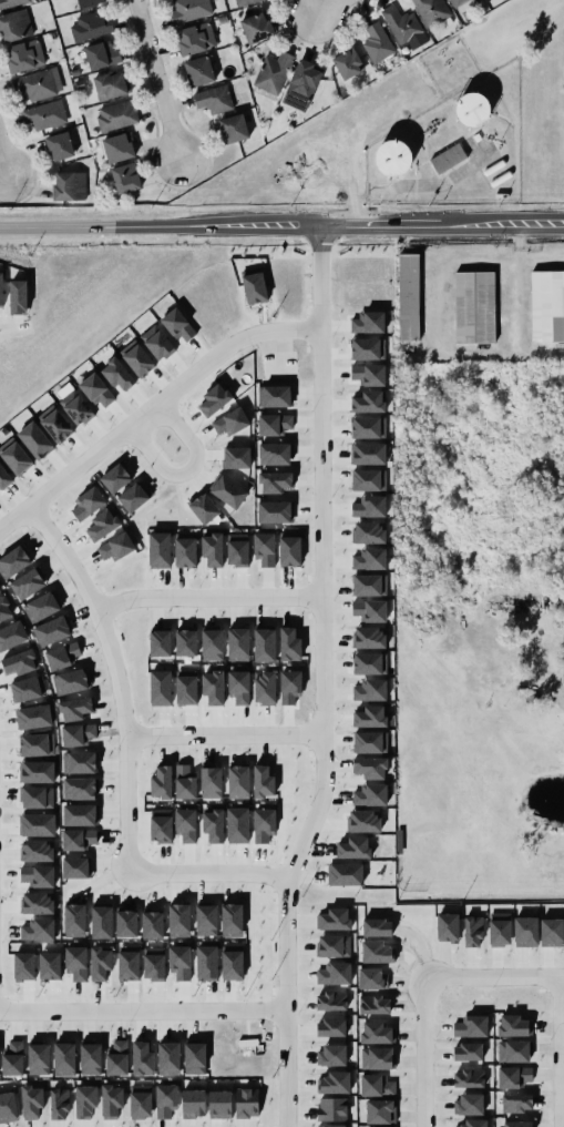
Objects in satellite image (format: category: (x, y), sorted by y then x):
building: (11, 2)
building: (88, 2)
building: (245, 2)
building: (459, 3)
building: (188, 10)
road: (311, 10)
road: (330, 10)
building: (431, 11)
building: (401, 24)
building: (14, 26)
building: (89, 27)
building: (257, 28)
building: (194, 39)
building: (377, 42)
building: (102, 54)
building: (24, 55)
building: (346, 64)
building: (197, 71)
building: (271, 72)
road: (156, 80)
building: (302, 81)
building: (39, 84)
building: (110, 85)
building: (213, 100)
building: (43, 114)
building: (116, 115)
building: (233, 129)
building: (60, 146)
building: (117, 148)
road: (4, 163)
building: (124, 180)
building: (68, 187)
road: (281, 224)
building: (372, 271)
building: (286, 284)
building: (254, 285)
building: (1, 290)
building: (228, 295)
building: (371, 296)
building: (408, 303)
building: (547, 306)
building: (474, 307)
building: (203, 309)
building: (368, 322)
building: (178, 325)
building: (156, 343)
building: (368, 348)
building: (137, 359)
building: (276, 369)
building: (117, 374)
building: (368, 374)
building: (96, 390)
building: (276, 395)
building: (214, 399)
building: (369, 402)
road: (153, 408)
building: (76, 409)
building: (229, 422)
building: (275, 424)
building: (55, 425)
building: (368, 427)
building: (34, 440)
building: (274, 453)
building: (369, 454)
building: (236, 457)
building: (16, 460)
road: (189, 473)
building: (115, 477)
building: (4, 478)
building: (369, 479)
building: (275, 481)
building: (227, 490)
building: (137, 498)
building: (86, 505)
building: (369, 507)
building: (204, 508)
building: (274, 511)
building: (102, 525)
building: (369, 532)
building: (115, 548)
building: (264, 548)
building: (289, 548)
building: (158, 549)
building: (184, 549)
building: (211, 549)
building: (237, 549)
building: (369, 559)
building: (13, 561)
building: (27, 583)
building: (369, 585)
road: (209, 599)
building: (41, 607)
building: (4, 609)
building: (369, 610)
building: (52, 629)
building: (12, 634)
building: (369, 637)
building: (160, 642)
building: (185, 642)
building: (237, 643)
building: (288, 643)
building: (212, 644)
building: (264, 644)
building: (63, 654)
building: (19, 662)
building: (369, 663)
road: (510, 674)
road: (117, 678)
road: (324, 679)
building: (70, 681)
building: (212, 686)
building: (238, 687)
building: (289, 687)
building: (27, 688)
building: (160, 688)
building: (264, 688)
building: (186, 689)
building: (370, 690)
building: (74, 709)
building: (34, 717)
building: (370, 717)
building: (78, 734)
road: (225, 735)
building: (370, 742)
building: (35, 744)
building: (80, 762)
building: (370, 766)
building: (37, 771)
building: (184, 781)
building: (263, 781)
building: (161, 782)
building: (211, 782)
building: (238, 782)
building: (80, 789)
building: (370, 794)
building: (37, 796)
building: (80, 814)
building: (365, 821)
building: (37, 824)
building: (185, 824)
building: (213, 824)
building: (237, 824)
building: (263, 824)
building: (160, 825)
building: (78, 839)
building: (353, 847)
building: (38, 850)
building: (75, 867)
building: (346, 874)
building: (38, 875)
road: (211, 876)
building: (38, 902)
building: (335, 918)
building: (74, 920)
building: (178, 920)
building: (206, 920)
building: (232, 920)
building: (101, 922)
building: (125, 923)
building: (152, 924)
building: (377, 927)
building: (38, 928)
building: (499, 928)
building: (473, 931)
building: (525, 931)
building: (551, 932)
building: (335, 946)
building: (377, 952)
building: (180, 962)
building: (75, 963)
building: (100, 963)
building: (153, 963)
building: (206, 963)
building: (232, 964)
building: (49, 965)
building: (127, 965)
building: (23, 966)
building: (334, 973)
building: (370, 977)
road: (495, 979)
building: (331, 1001)
building: (375, 1004)
road: (143, 1011)
building: (470, 1026)
building: (331, 1027)
building: (378, 1032)
building: (513, 1050)
building: (466, 1052)
road: (562, 1053)
building: (224, 1054)
road: (427, 1054)
building: (330, 1055)
building: (11, 1057)
building: (142, 1057)
building: (194, 1057)
building: (377, 1057)
building: (38, 1058)
building: (64, 1058)
building: (90, 1058)
building: (116, 1058)
building: (168, 1058)
building: (249, 1058)
building: (514, 1076)
building: (468, 1077)
building: (334, 1082)
building: (378, 1085)
building: (165, 1099)
building: (85, 1100)
building: (111, 1100)
building: (31, 1101)
building: (140, 1101)
building: (193, 1103)
building: (246, 1103)
building: (516, 1103)
building: (58, 1104)
building: (219, 1104)
building: (469, 1104)
building: (8, 1107)
building: (331, 1109)
building: (379, 1110)
building: (473, 1123)
building: (516, 1124)
building: (330, 1126)
building: (377, 1126)

